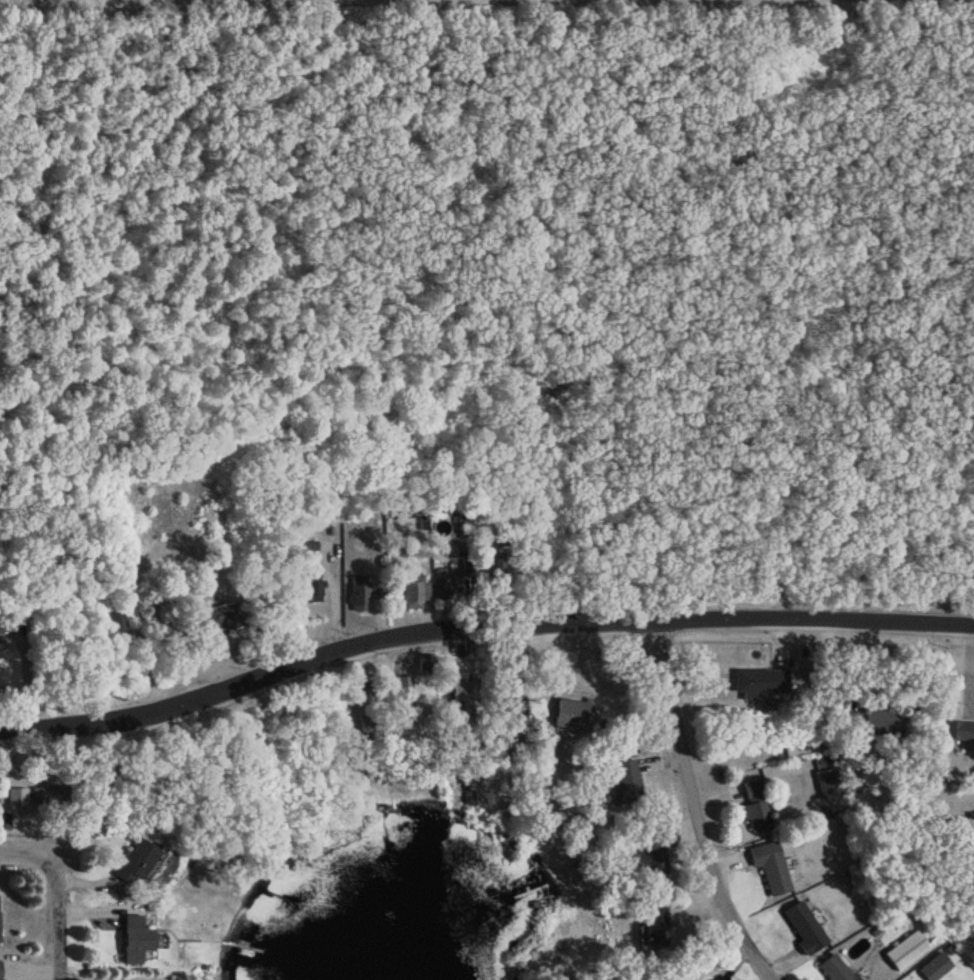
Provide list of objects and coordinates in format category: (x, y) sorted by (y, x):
building: (445, 584)
building: (313, 587)
building: (413, 591)
building: (358, 592)
building: (222, 616)
building: (116, 620)
road: (480, 627)
building: (0, 639)
building: (425, 665)
building: (758, 681)
road: (597, 689)
building: (403, 690)
building: (463, 693)
building: (513, 706)
building: (570, 714)
building: (869, 722)
building: (371, 727)
building: (958, 731)
building: (623, 782)
building: (825, 783)
building: (48, 794)
building: (16, 795)
road: (694, 805)
building: (754, 806)
road: (18, 833)
building: (665, 837)
building: (651, 862)
building: (135, 863)
building: (769, 866)
road: (51, 907)
building: (655, 926)
building: (802, 927)
building: (134, 939)
building: (904, 950)
building: (933, 967)
building: (833, 969)

